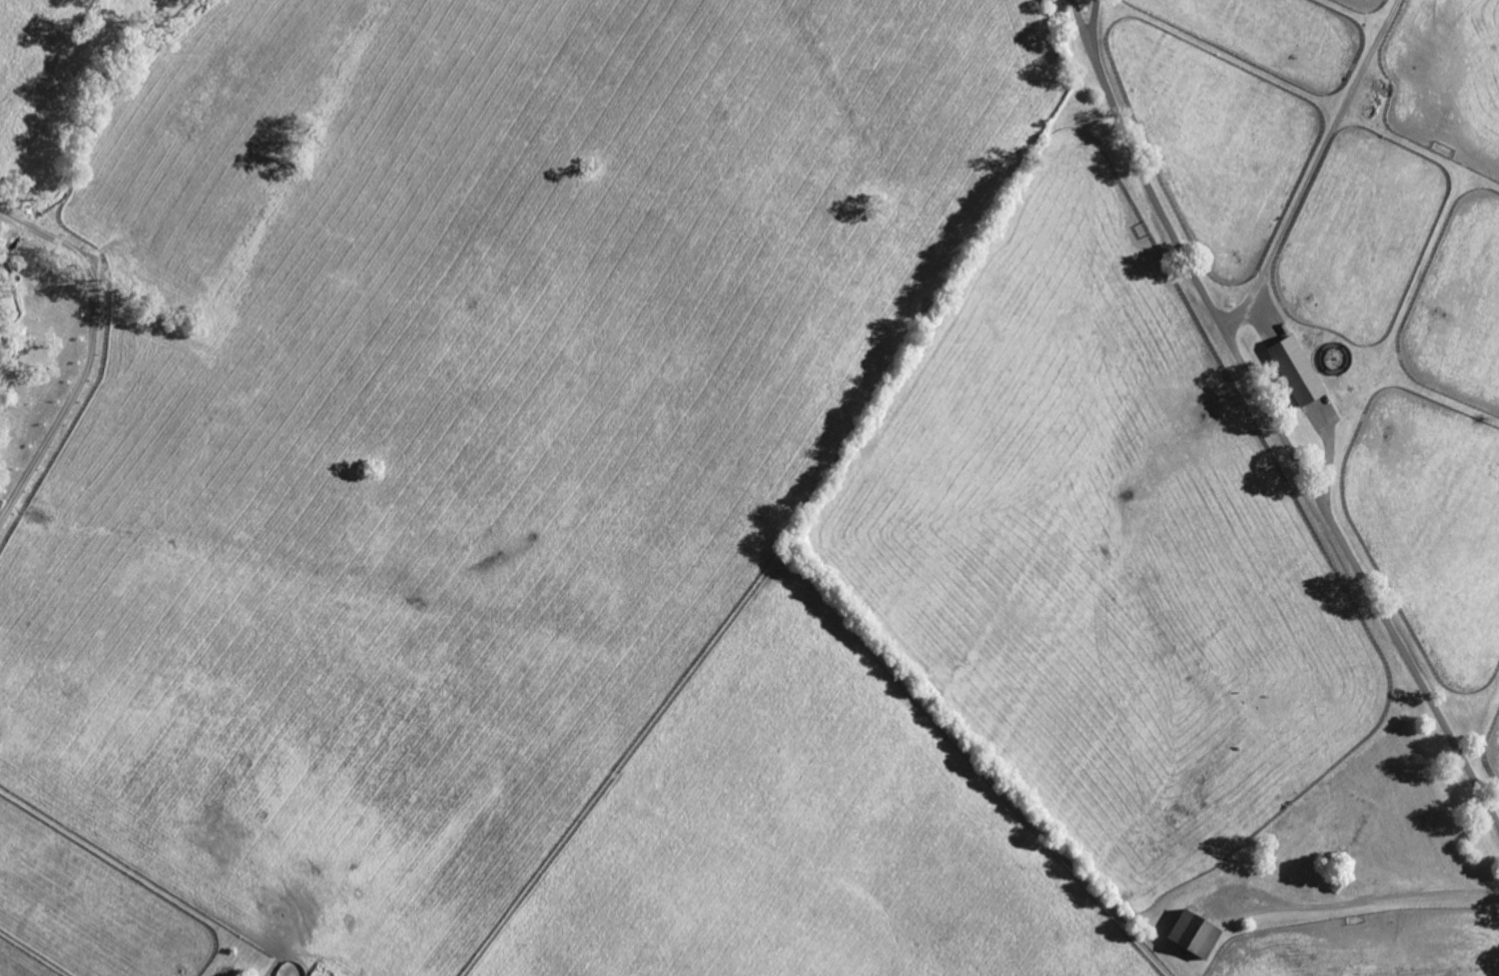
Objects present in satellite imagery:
road: (1094, 17)
road: (1314, 168)
road: (1140, 169)
road: (93, 353)
building: (1295, 370)
crop: (1218, 481)
road: (1361, 578)
road: (1369, 901)
building: (1200, 935)

